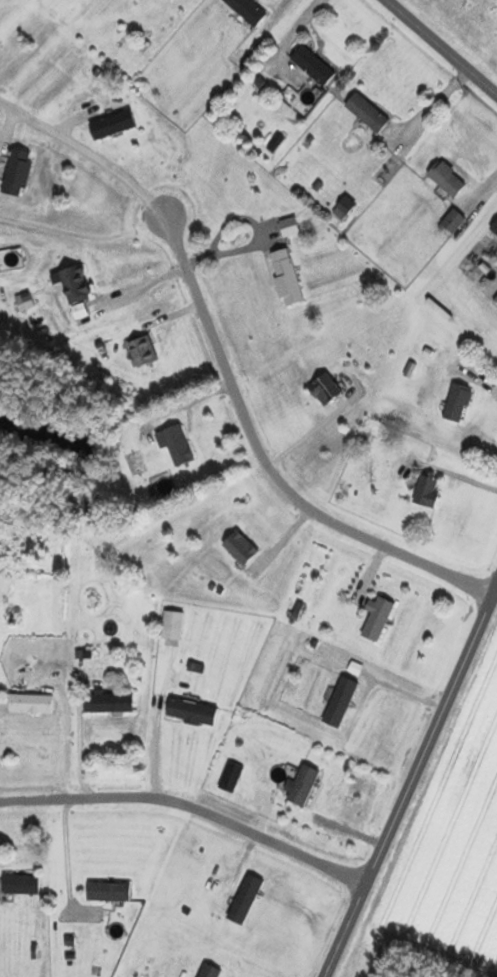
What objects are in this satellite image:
building: (248, 11)
road: (440, 48)
building: (237, 58)
building: (314, 66)
building: (368, 112)
building: (113, 124)
road: (83, 157)
building: (18, 172)
building: (448, 179)
building: (344, 208)
building: (454, 220)
building: (290, 227)
building: (494, 229)
building: (288, 282)
building: (76, 284)
building: (25, 302)
building: (143, 351)
building: (326, 390)
building: (457, 403)
building: (178, 445)
road: (261, 461)
building: (241, 548)
building: (378, 619)
building: (172, 628)
building: (109, 702)
building: (341, 702)
building: (31, 703)
building: (192, 712)
road: (432, 725)
road: (60, 750)
building: (304, 785)
road: (191, 807)
building: (22, 885)
building: (109, 892)
building: (246, 899)
road: (348, 933)
building: (210, 971)

